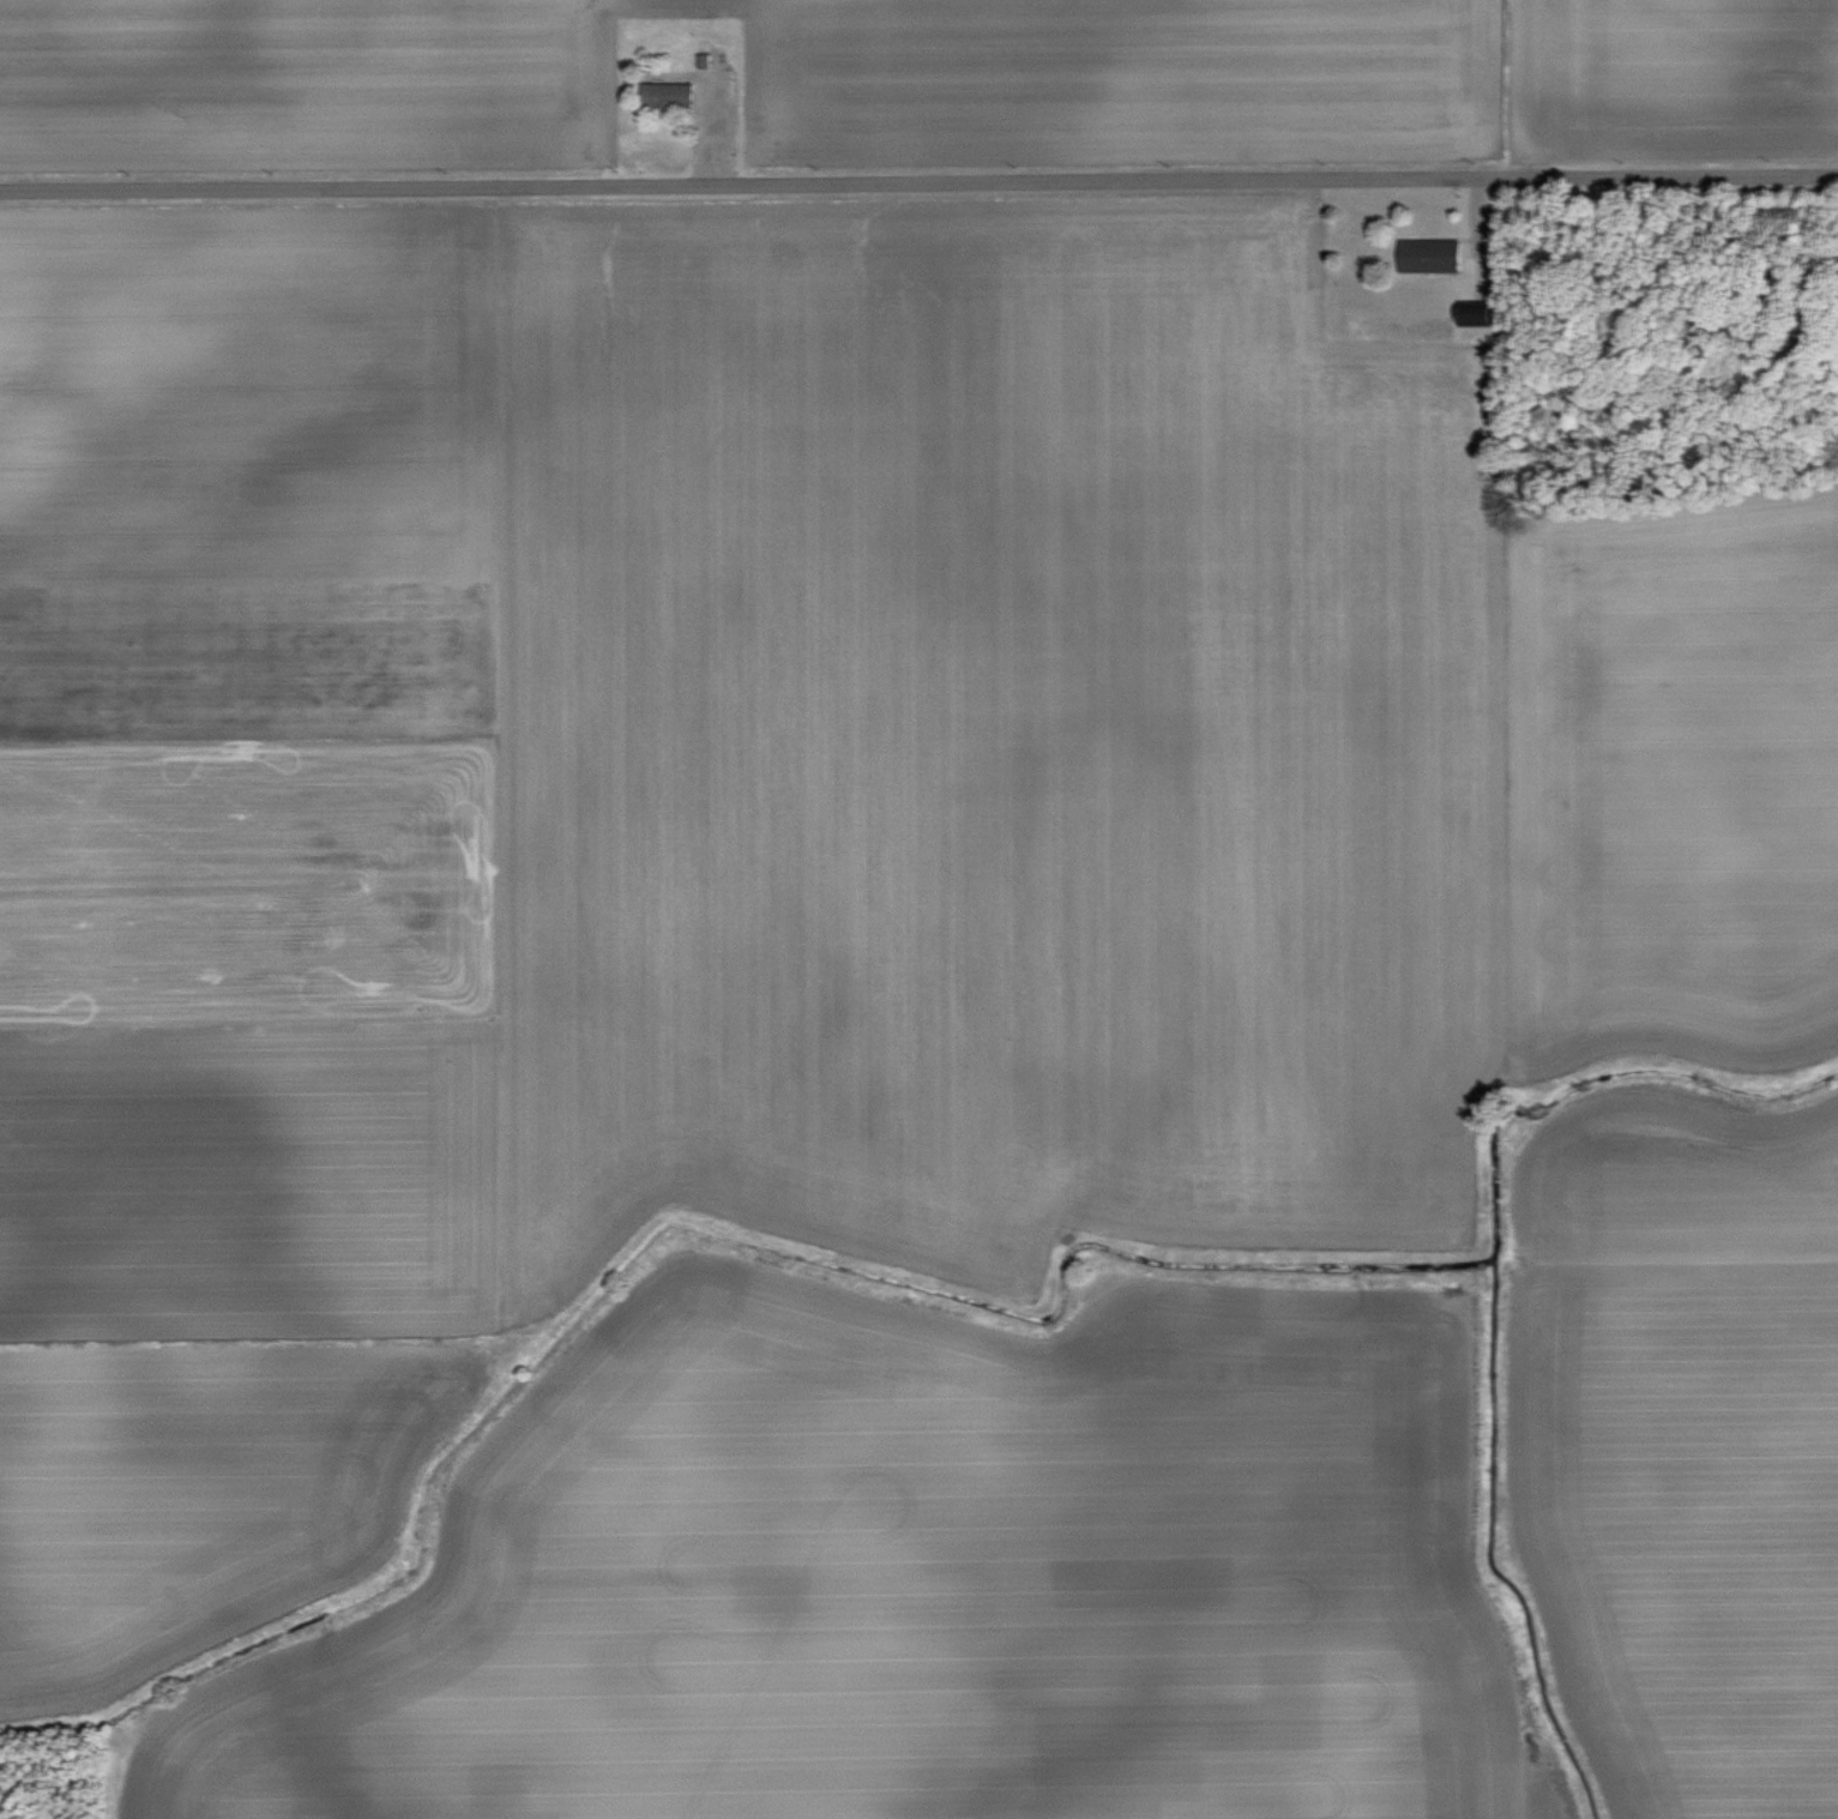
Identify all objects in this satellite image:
building: (662, 92)
road: (918, 181)

